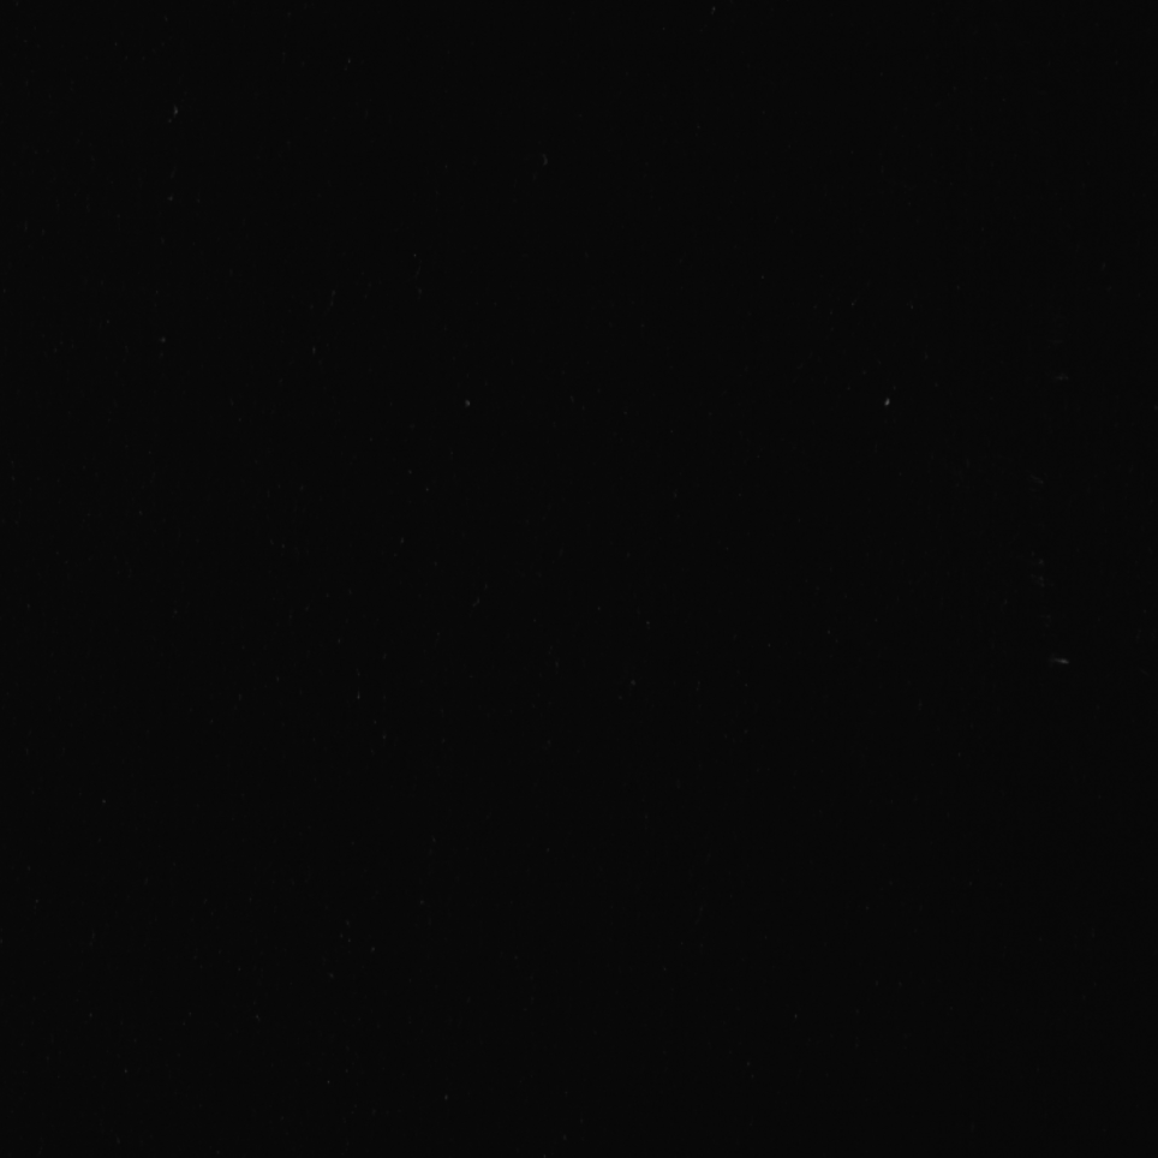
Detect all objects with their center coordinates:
building: (651, 637)

